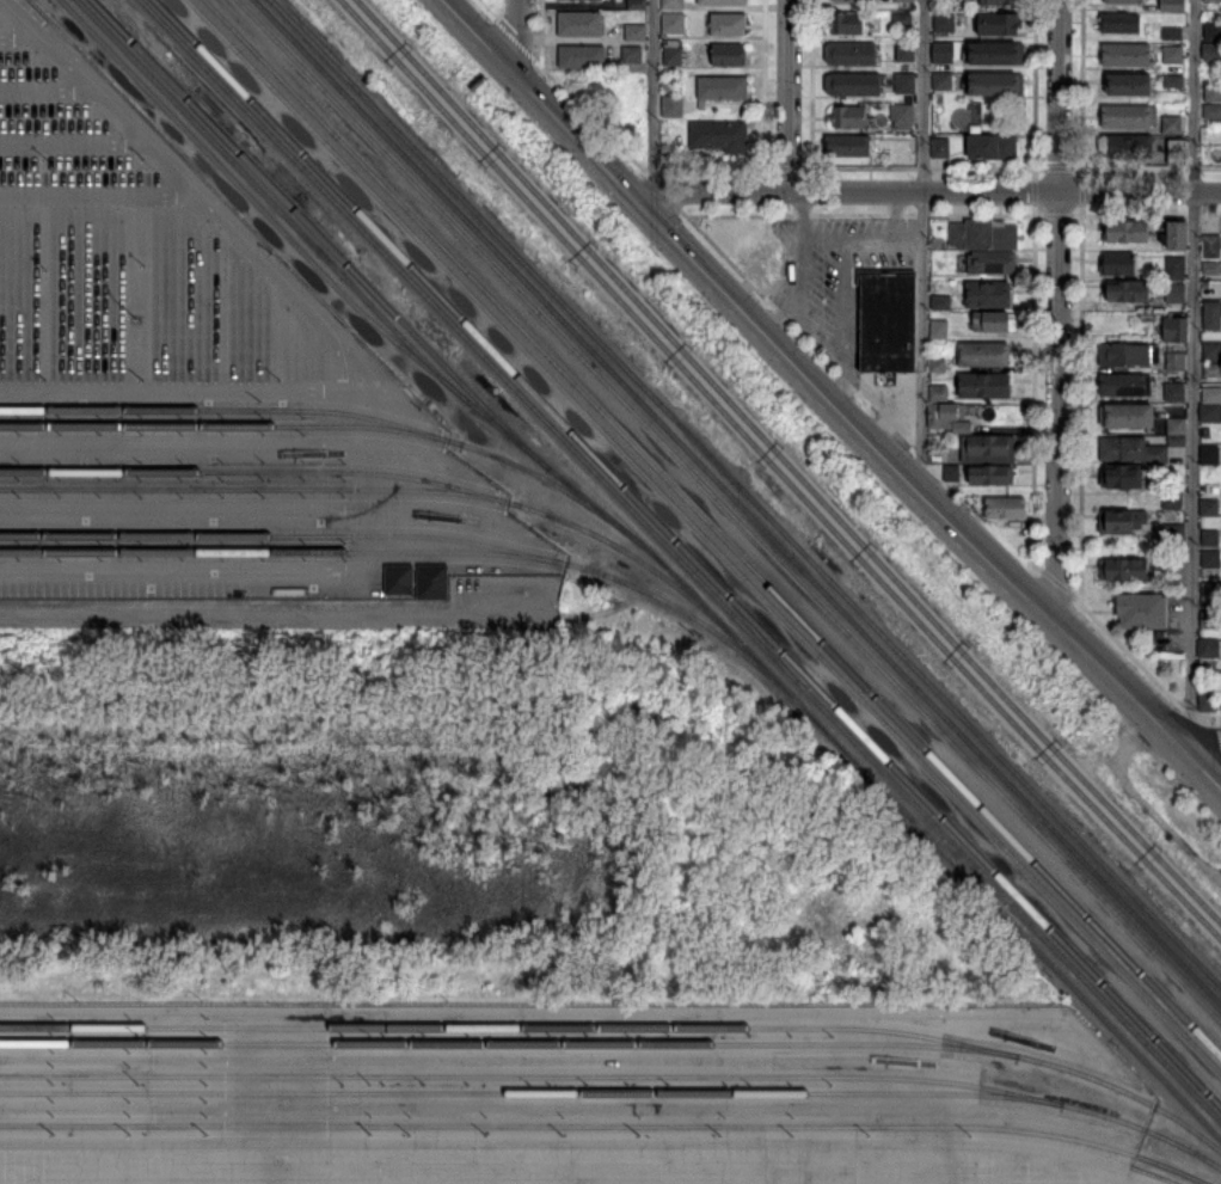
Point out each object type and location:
building: (851, 0)
building: (903, 0)
building: (999, 1)
building: (1119, 1)
building: (722, 2)
building: (671, 4)
building: (636, 5)
building: (1172, 5)
building: (902, 19)
building: (846, 23)
building: (944, 23)
building: (998, 23)
building: (1119, 23)
building: (671, 24)
building: (726, 24)
building: (579, 25)
building: (633, 32)
building: (1213, 32)
building: (1172, 33)
road: (516, 37)
road: (25, 38)
building: (671, 51)
building: (904, 51)
building: (943, 51)
building: (1211, 51)
building: (630, 54)
building: (849, 54)
building: (998, 54)
building: (1125, 54)
building: (728, 55)
building: (1172, 55)
building: (579, 57)
building: (1204, 70)
building: (941, 81)
building: (1173, 81)
building: (904, 82)
building: (667, 84)
building: (853, 84)
building: (998, 84)
building: (1128, 85)
road: (50, 90)
building: (720, 90)
building: (1213, 93)
road: (654, 94)
road: (789, 96)
building: (671, 108)
building: (1213, 112)
building: (902, 115)
building: (848, 116)
building: (1129, 116)
building: (1171, 125)
building: (718, 135)
road: (75, 142)
building: (847, 146)
building: (1127, 146)
building: (940, 147)
building: (992, 147)
building: (1176, 157)
road: (922, 191)
road: (100, 194)
road: (202, 194)
railway: (274, 203)
building: (1124, 231)
building: (983, 234)
railway: (320, 235)
building: (1174, 235)
road: (823, 237)
road: (895, 237)
road: (921, 245)
road: (127, 246)
building: (1211, 246)
parking lot: (136, 253)
building: (765, 263)
building: (990, 263)
building: (1117, 263)
road: (797, 268)
building: (1174, 268)
building: (1211, 268)
building: (1127, 290)
building: (1174, 293)
building: (988, 295)
parking lot: (848, 297)
road: (152, 299)
building: (940, 301)
road: (1056, 312)
building: (1211, 315)
building: (994, 321)
building: (888, 323)
building: (938, 326)
road: (822, 327)
building: (1174, 329)
road: (178, 351)
building: (1211, 351)
building: (983, 354)
building: (1124, 355)
building: (1174, 362)
building: (937, 366)
road: (1194, 368)
building: (1211, 369)
road: (842, 380)
building: (984, 385)
building: (1125, 385)
road: (195, 387)
building: (1174, 392)
building: (938, 393)
building: (1211, 394)
road: (891, 397)
road: (828, 399)
building: (1210, 412)
railway: (336, 413)
building: (941, 415)
building: (1127, 416)
building: (1176, 425)
railway: (232, 427)
building: (962, 428)
building: (1176, 441)
building: (987, 446)
building: (1130, 450)
building: (935, 454)
building: (1208, 455)
railway: (786, 462)
railway: (778, 471)
building: (951, 473)
building: (990, 474)
railway: (395, 476)
building: (1122, 476)
railway: (262, 489)
railway: (744, 491)
building: (1172, 501)
railway: (737, 502)
building: (1005, 508)
building: (1208, 508)
railway: (728, 510)
building: (1123, 521)
railway: (712, 527)
building: (1173, 534)
railway: (422, 536)
railway: (704, 536)
building: (1209, 538)
railway: (283, 553)
railway: (688, 553)
railway: (655, 556)
building: (1209, 558)
railway: (680, 560)
building: (1124, 569)
building: (1178, 571)
building: (397, 579)
building: (430, 582)
building: (848, 583)
building: (1210, 591)
building: (1141, 611)
road: (276, 618)
building: (1209, 619)
railway: (751, 627)
building: (1207, 648)
building: (1204, 703)
building: (652, 717)
road: (1194, 737)
railway: (938, 838)
road: (533, 1014)
railway: (622, 1027)
railway: (508, 1043)
railway: (1210, 1044)
railway: (618, 1076)
railway: (530, 1093)
railway: (605, 1127)
road: (579, 1140)
parking lot: (553, 1157)
road: (950, 1161)
road: (1001, 1162)
road: (1054, 1166)
road: (1106, 1173)

